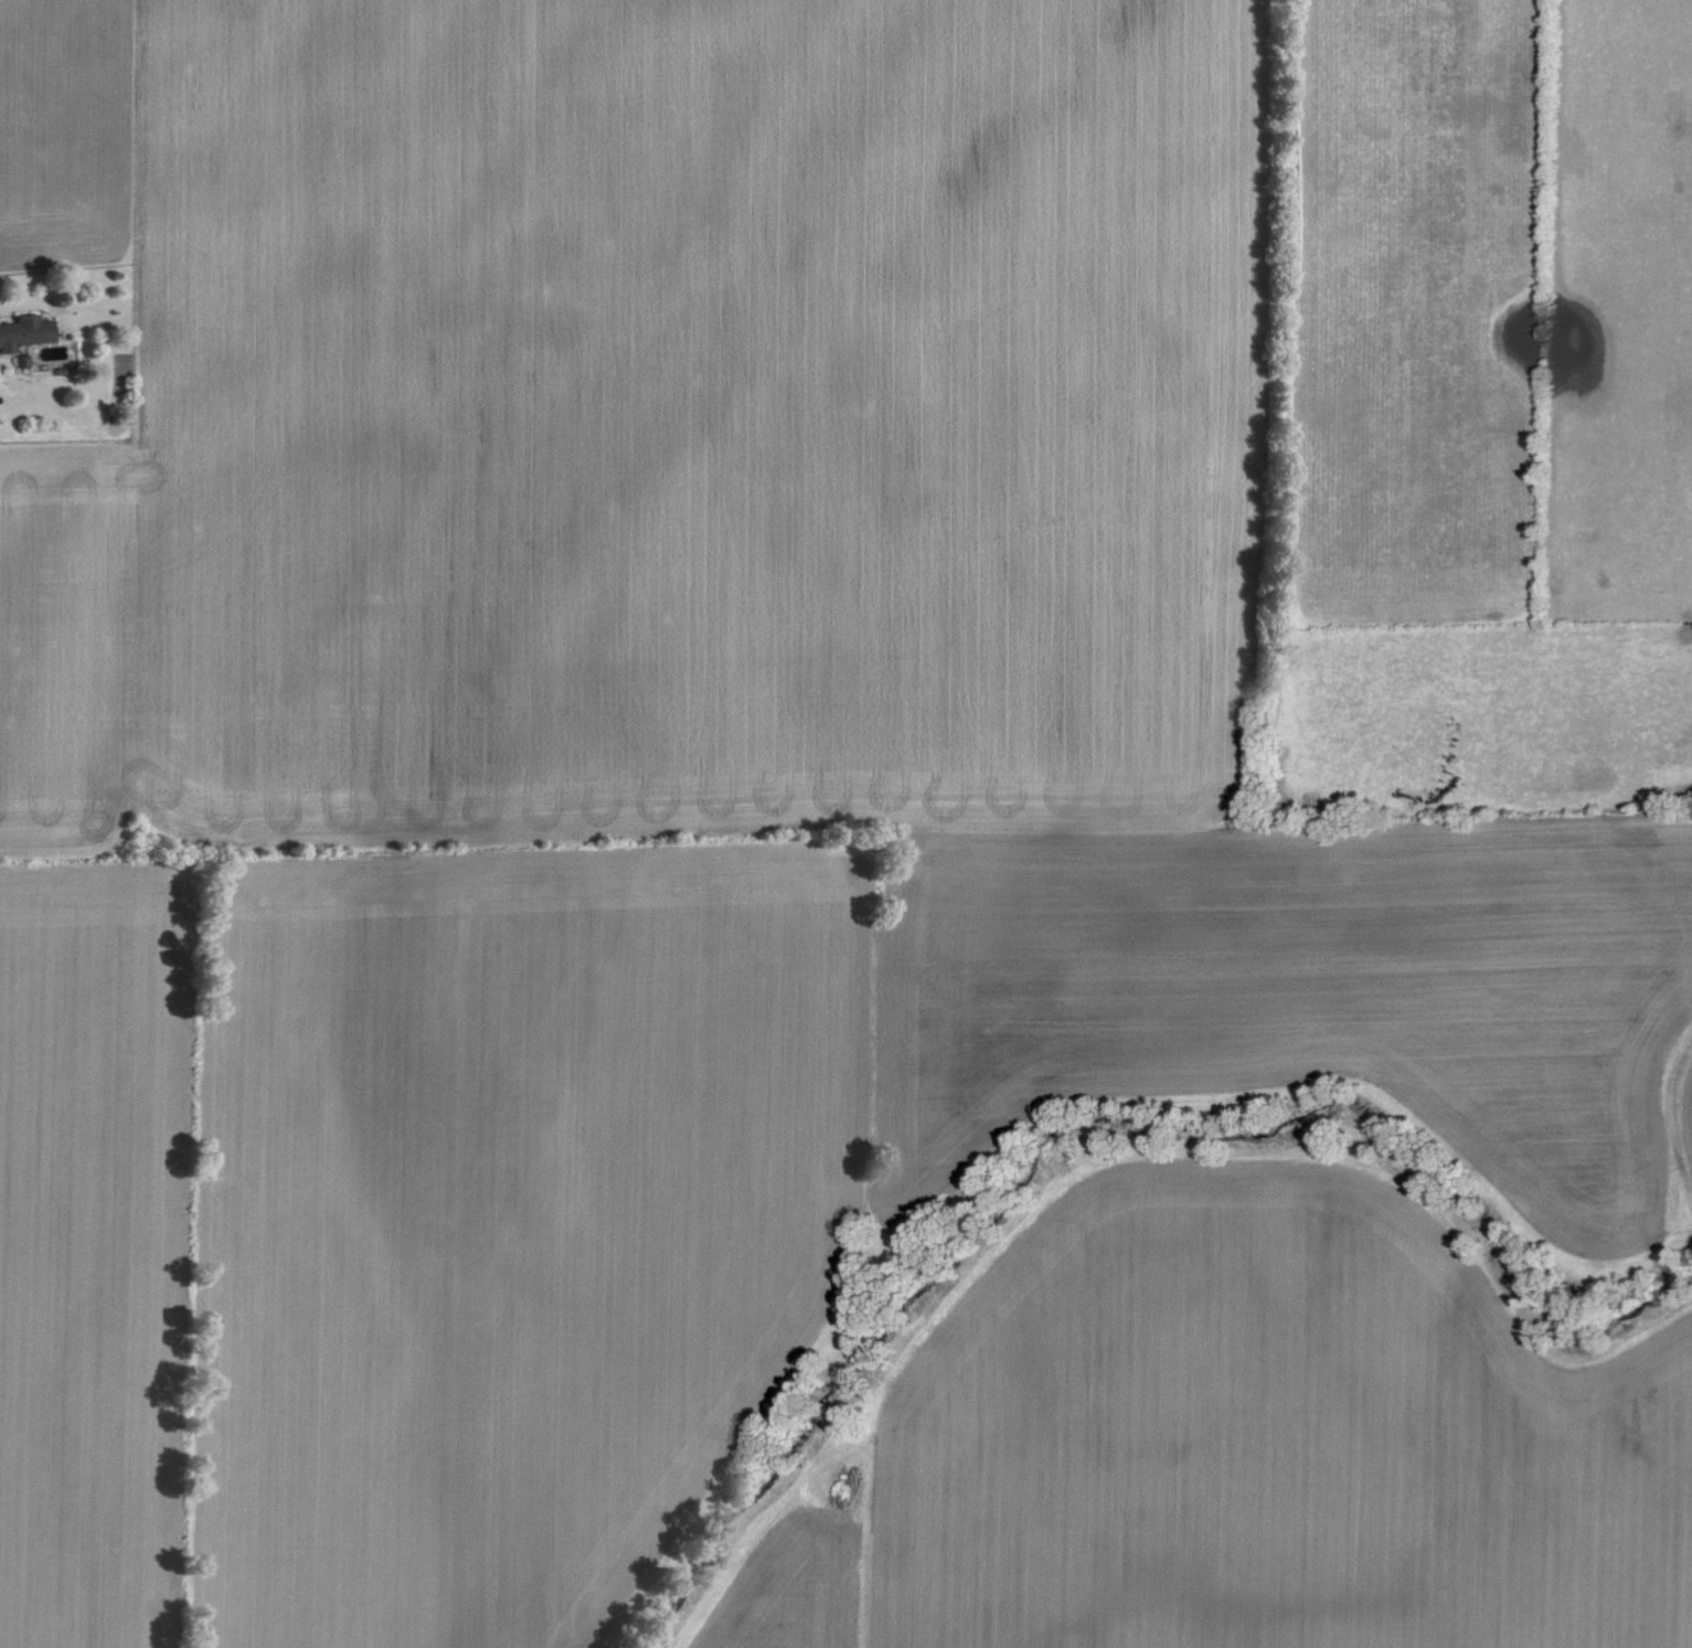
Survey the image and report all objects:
building: (23, 331)

